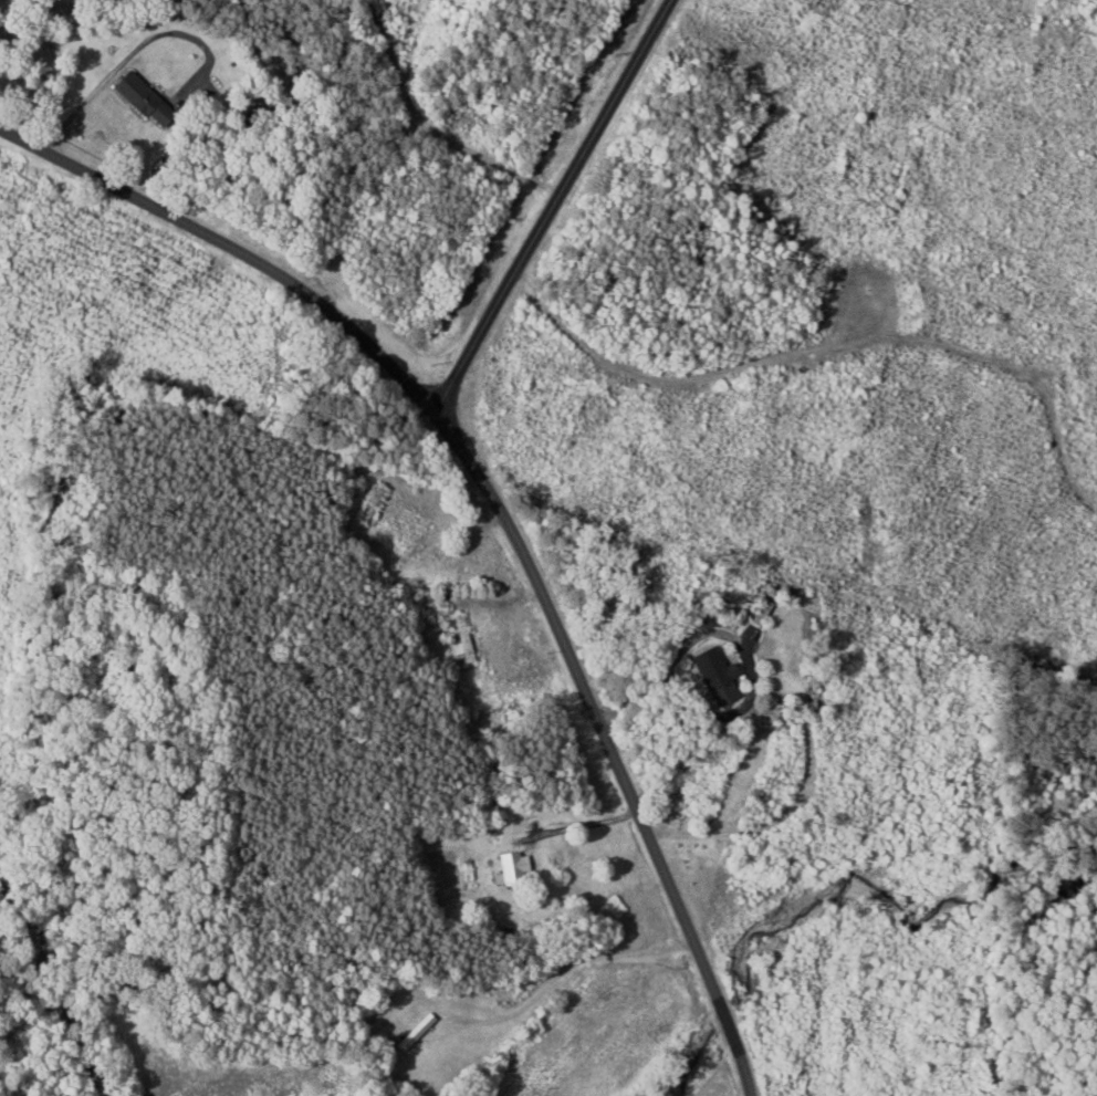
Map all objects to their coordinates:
road: (138, 49)
building: (150, 101)
road: (553, 205)
building: (374, 504)
road: (498, 509)
building: (440, 610)
building: (466, 641)
building: (723, 677)
building: (519, 868)
building: (424, 1034)

